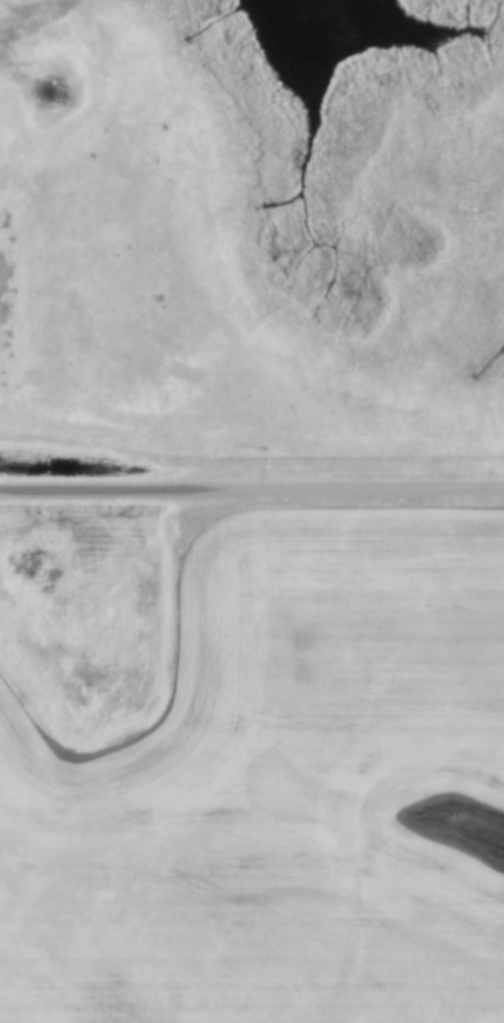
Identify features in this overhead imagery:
road: (252, 488)

